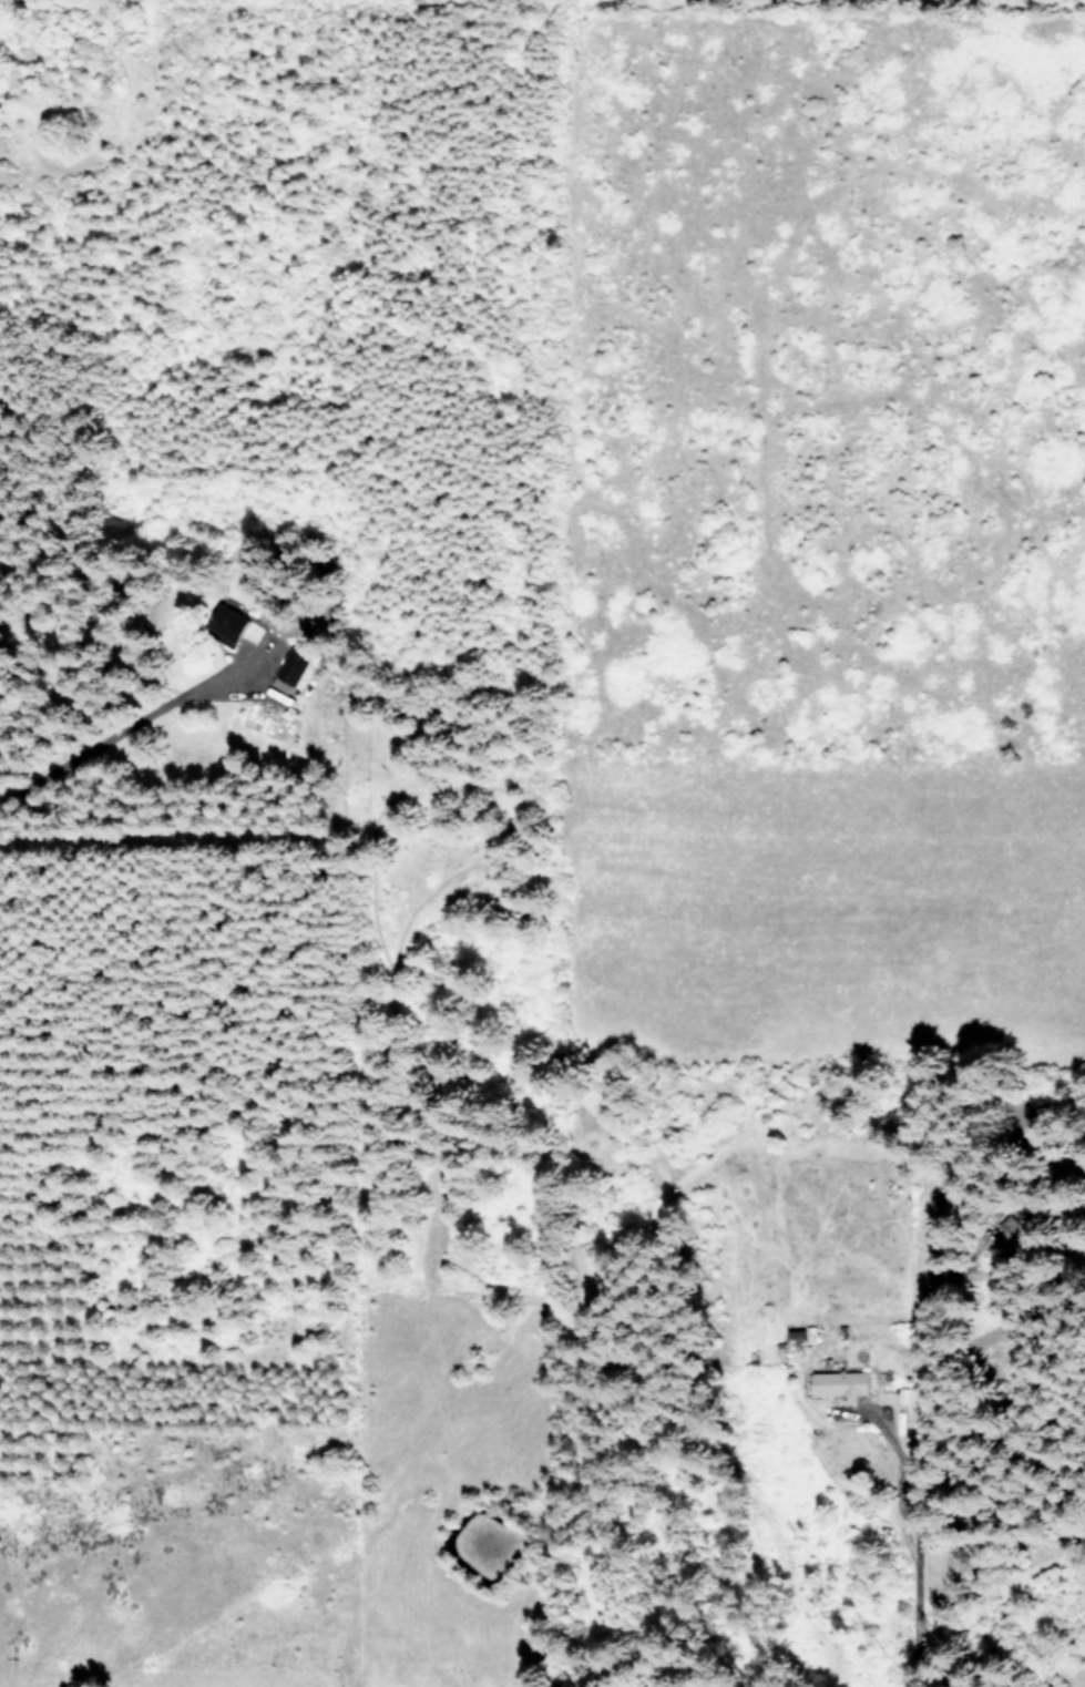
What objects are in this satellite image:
building: (232, 622)
building: (296, 666)
road: (124, 727)
building: (795, 1332)
building: (840, 1383)
road: (914, 1547)

